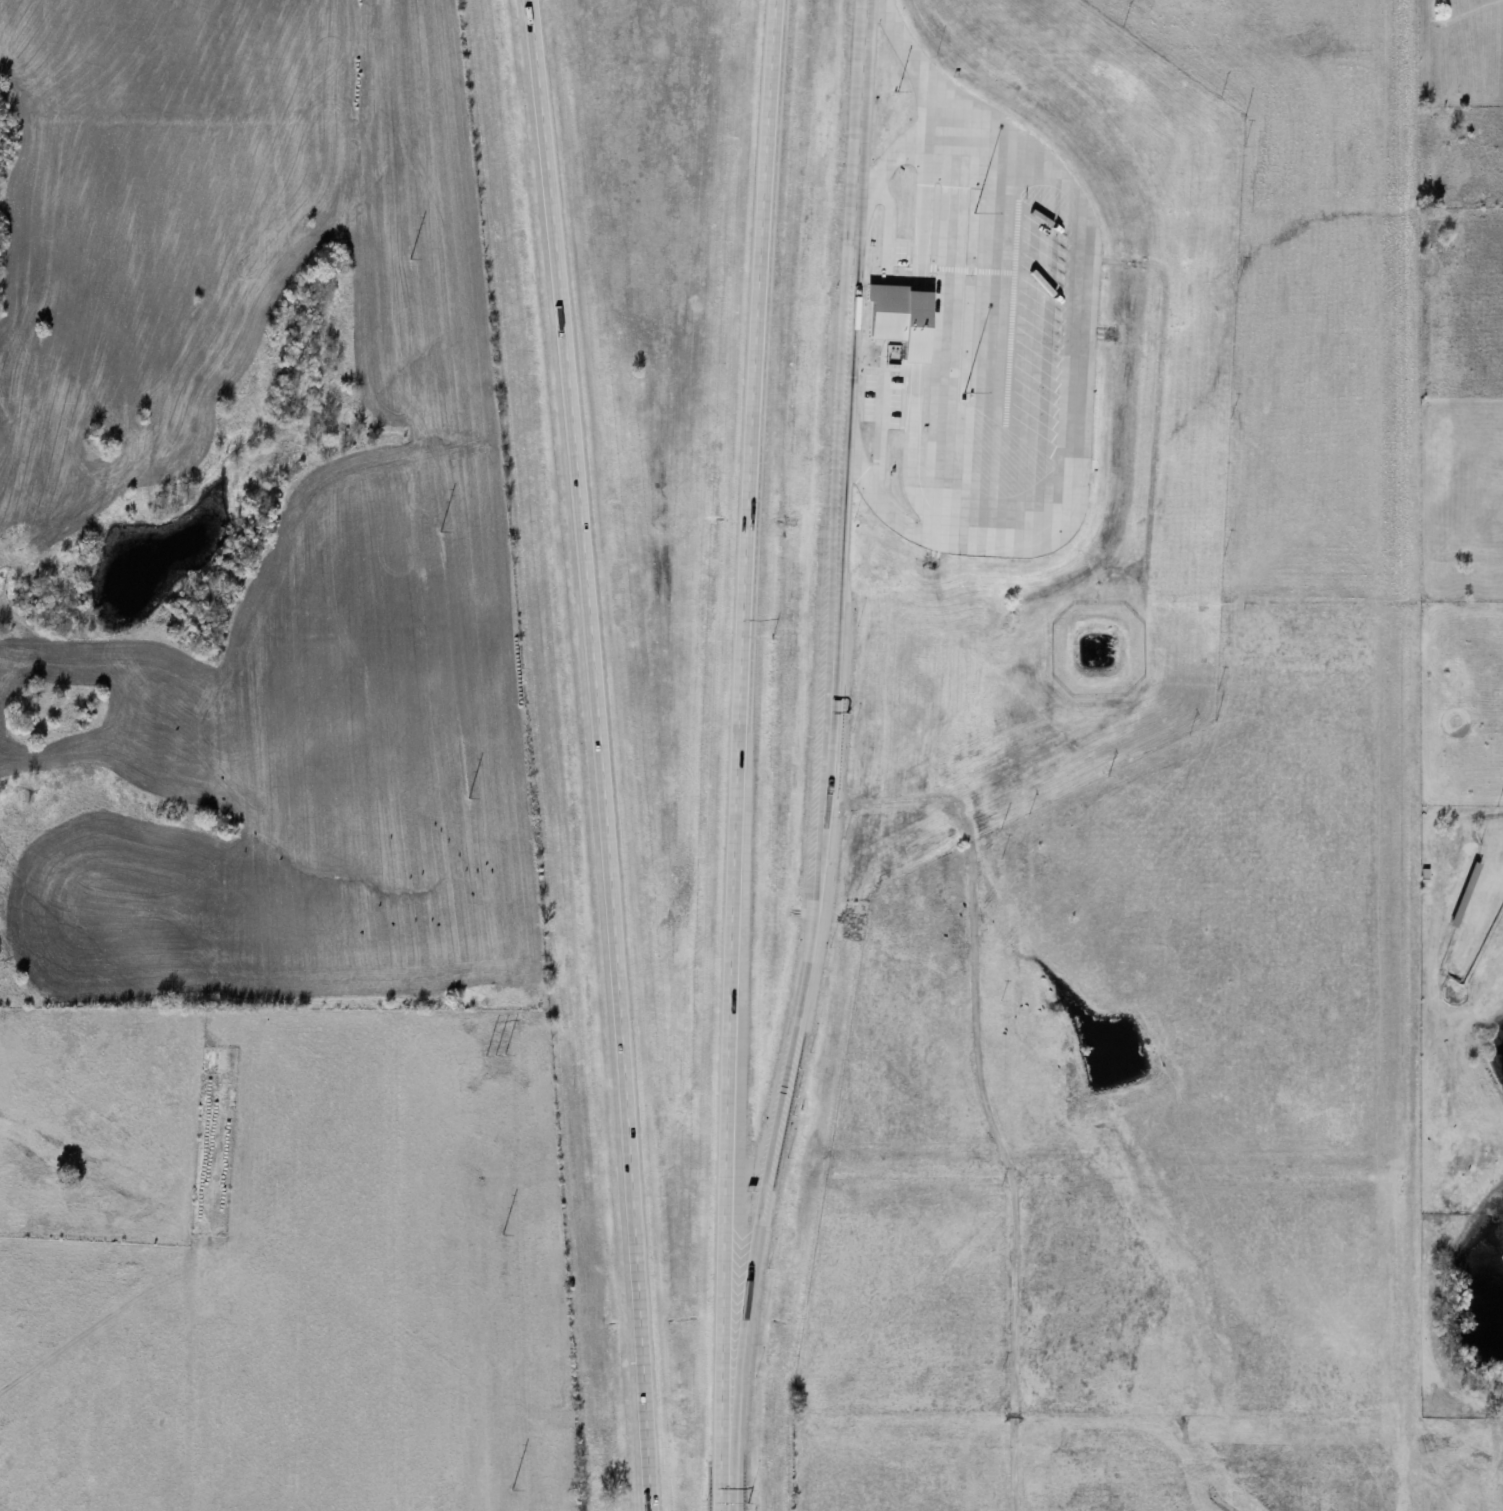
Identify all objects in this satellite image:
road: (907, 65)
road: (845, 100)
road: (837, 245)
road: (833, 313)
building: (886, 324)
road: (939, 336)
parking lot: (999, 341)
road: (991, 344)
road: (1068, 361)
road: (822, 555)
road: (727, 744)
road: (590, 754)
road: (788, 1002)
road: (728, 1358)
road: (710, 1500)

